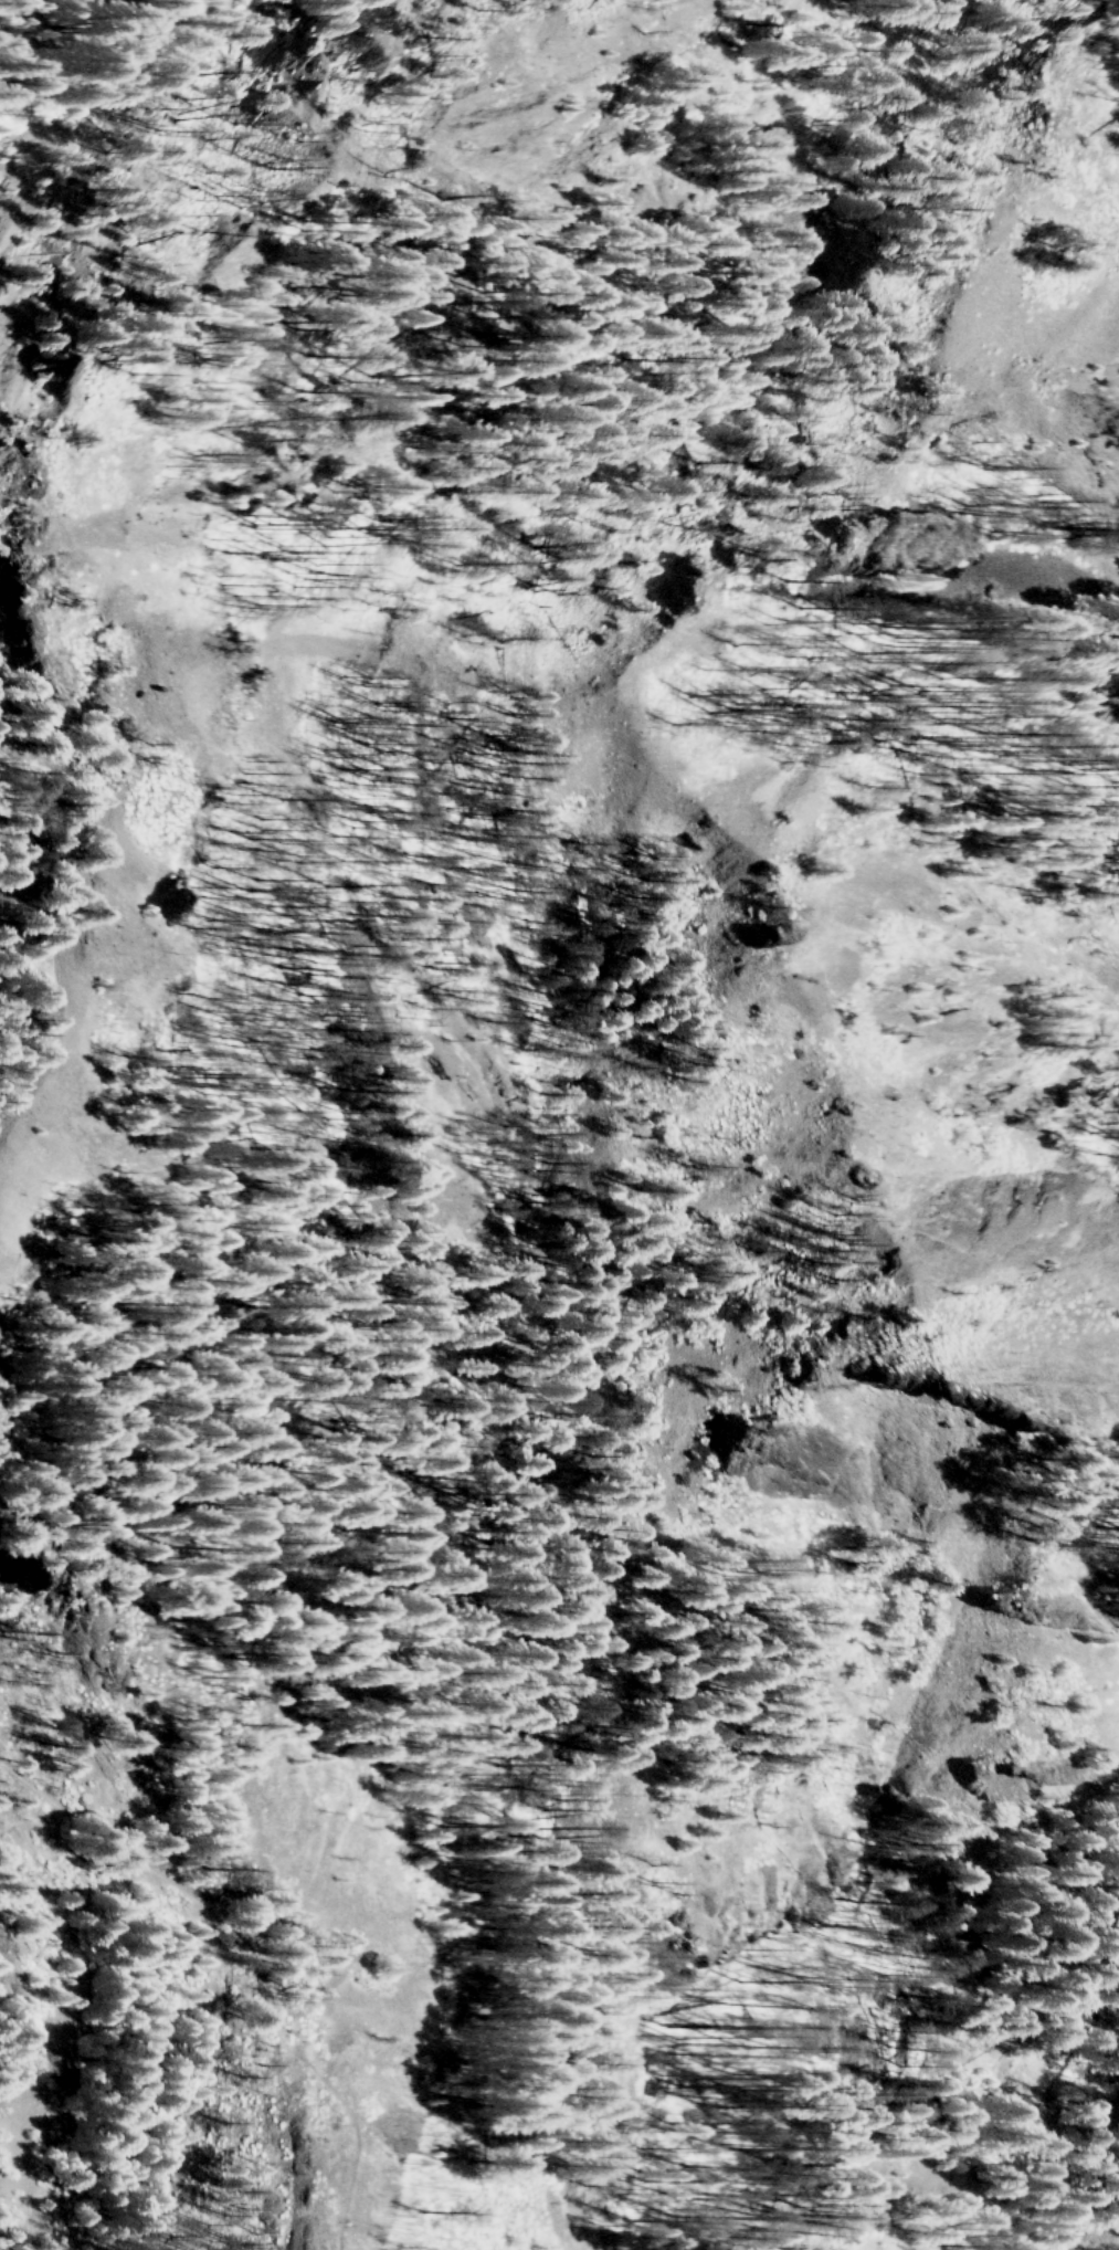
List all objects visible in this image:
road: (55, 929)
road: (244, 1964)

